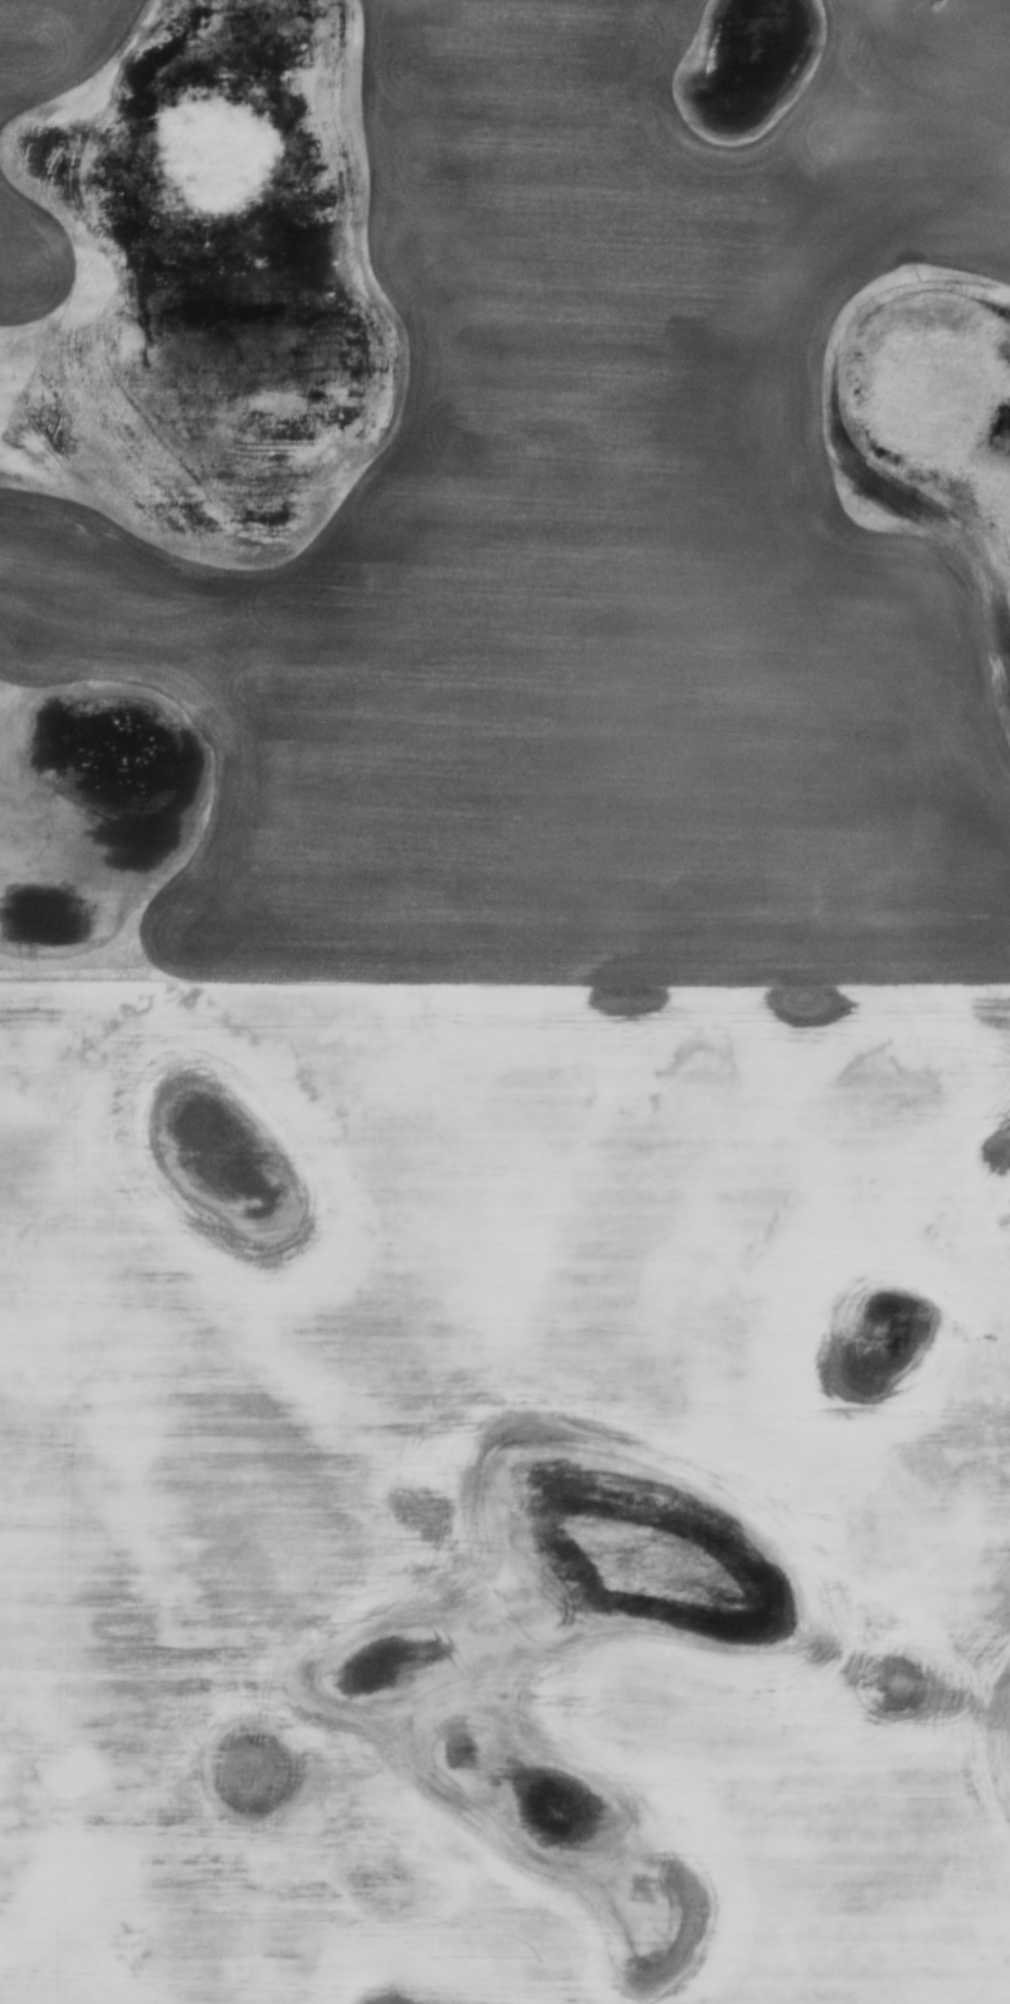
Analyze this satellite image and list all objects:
power tower: (930, 2)

